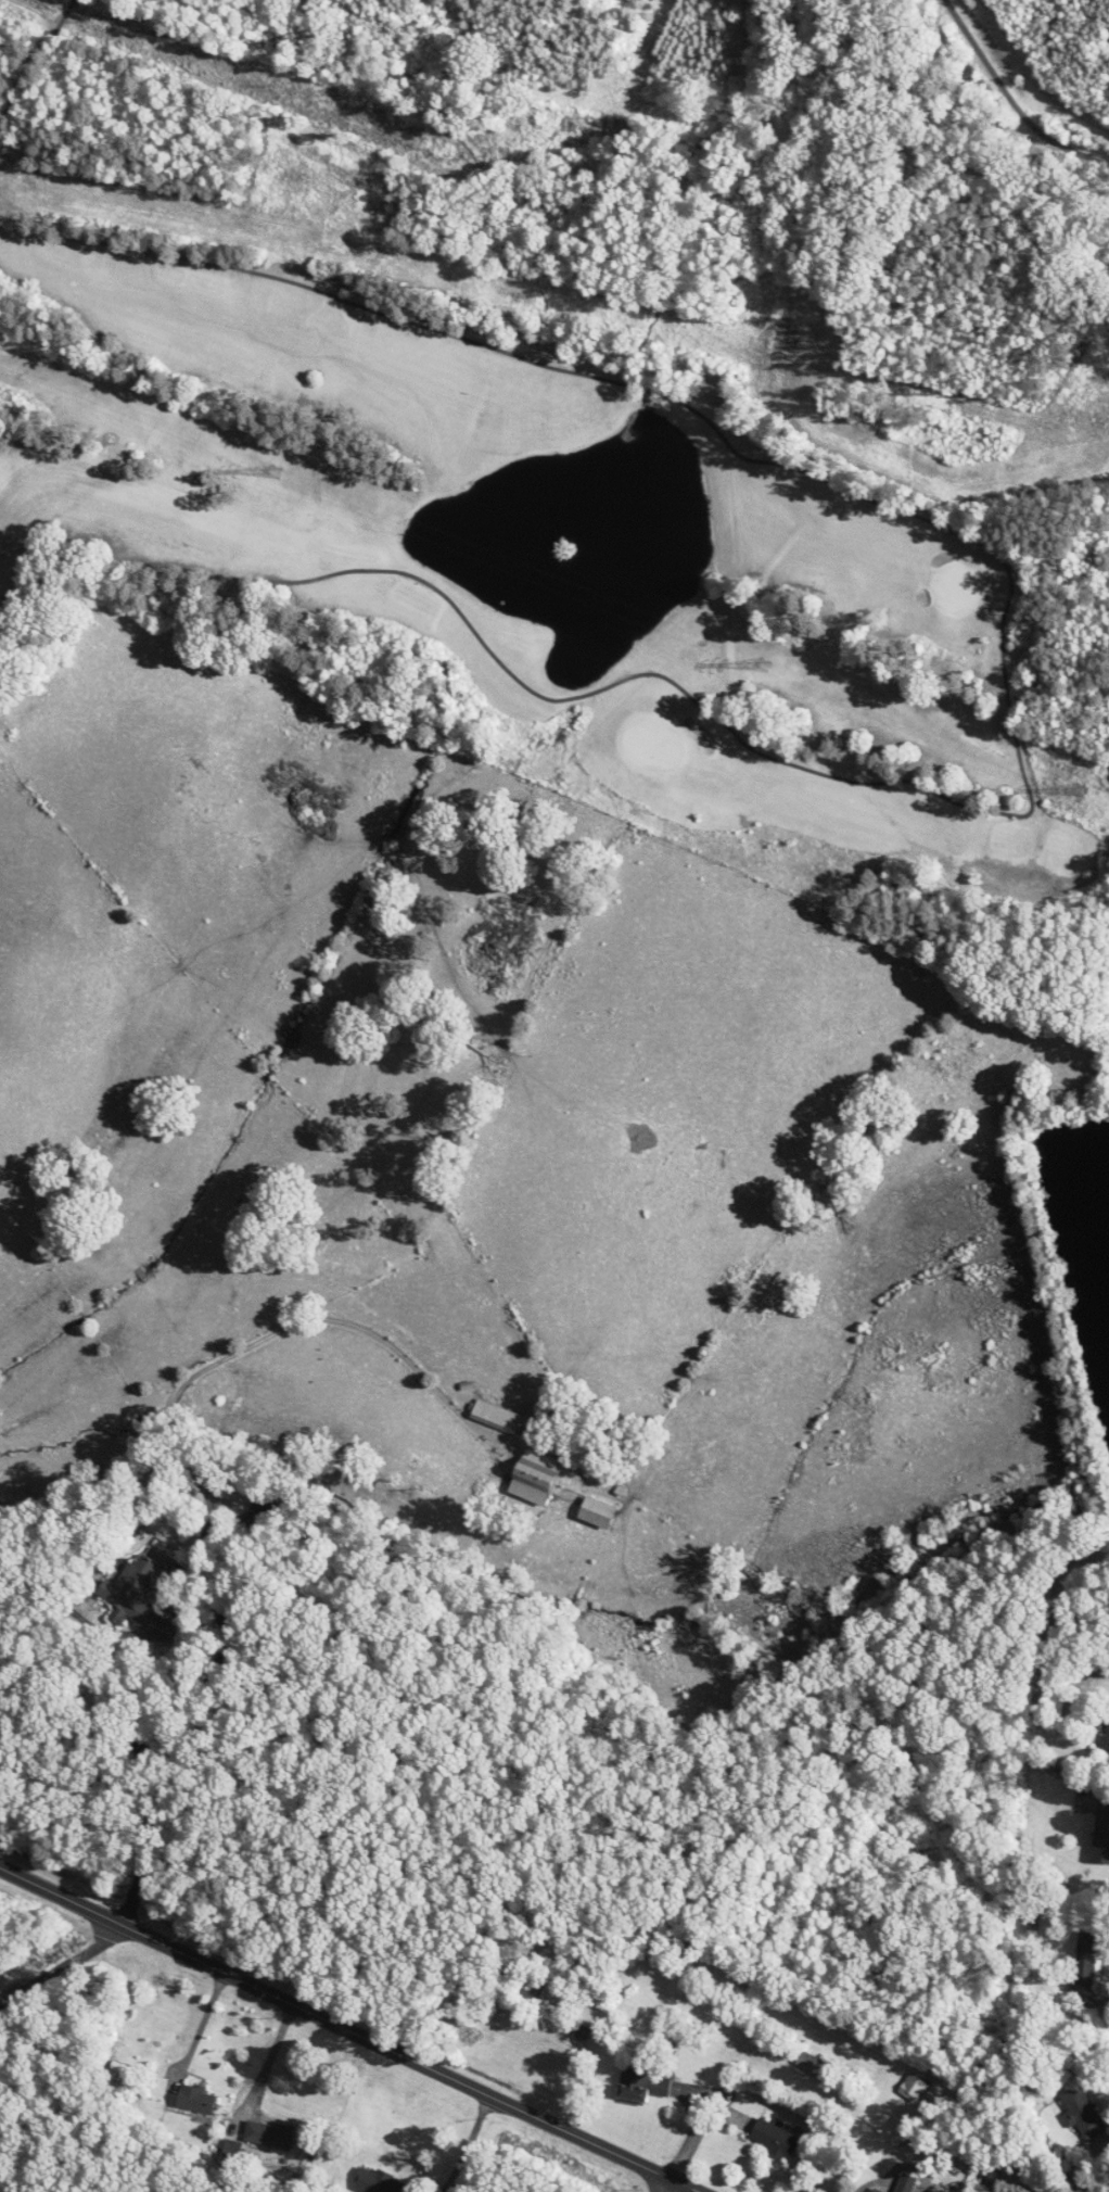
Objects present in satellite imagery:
road: (1011, 99)
power tower: (275, 471)
park: (525, 534)
power tower: (766, 662)
power tower: (1080, 789)
building: (496, 1417)
building: (536, 1477)
building: (598, 1512)
road: (218, 1522)
road: (179, 1580)
building: (137, 1598)
road: (91, 1638)
building: (1108, 1740)
building: (1101, 1835)
road: (146, 1839)
building: (1087, 1959)
road: (207, 2026)
road: (349, 2030)
road: (273, 2062)
building: (815, 2065)
building: (641, 2085)
building: (913, 2087)
building: (197, 2099)
building: (1082, 2112)
building: (269, 2133)
building: (775, 2139)
road: (480, 2146)
building: (378, 2181)
building: (904, 2183)
road: (666, 2185)
road: (673, 2185)

